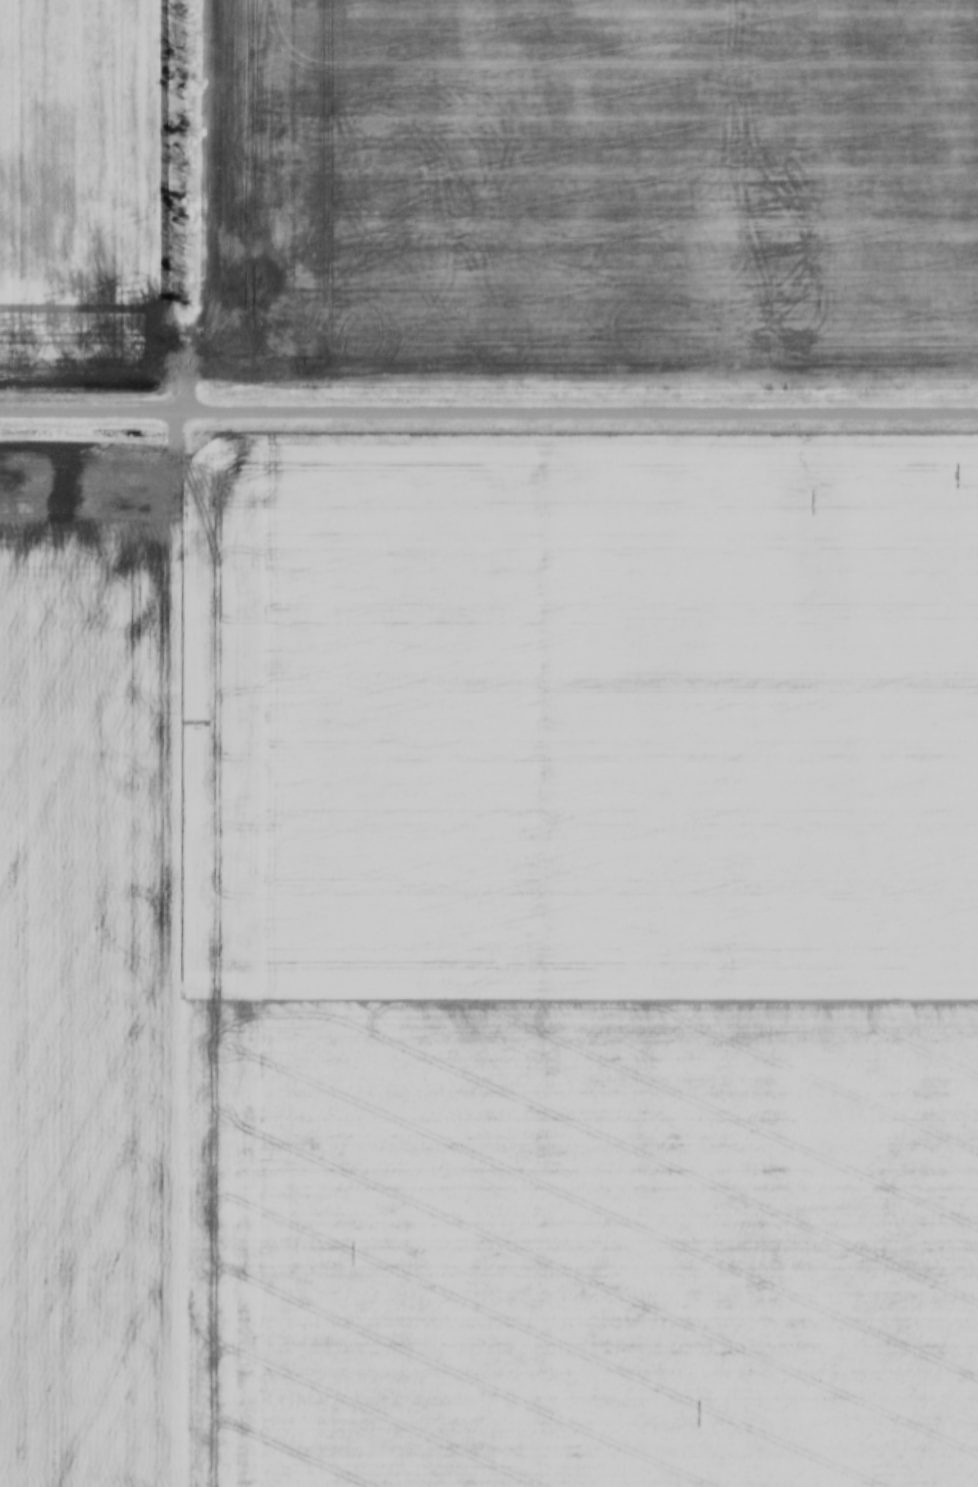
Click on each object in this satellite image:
road: (488, 410)

